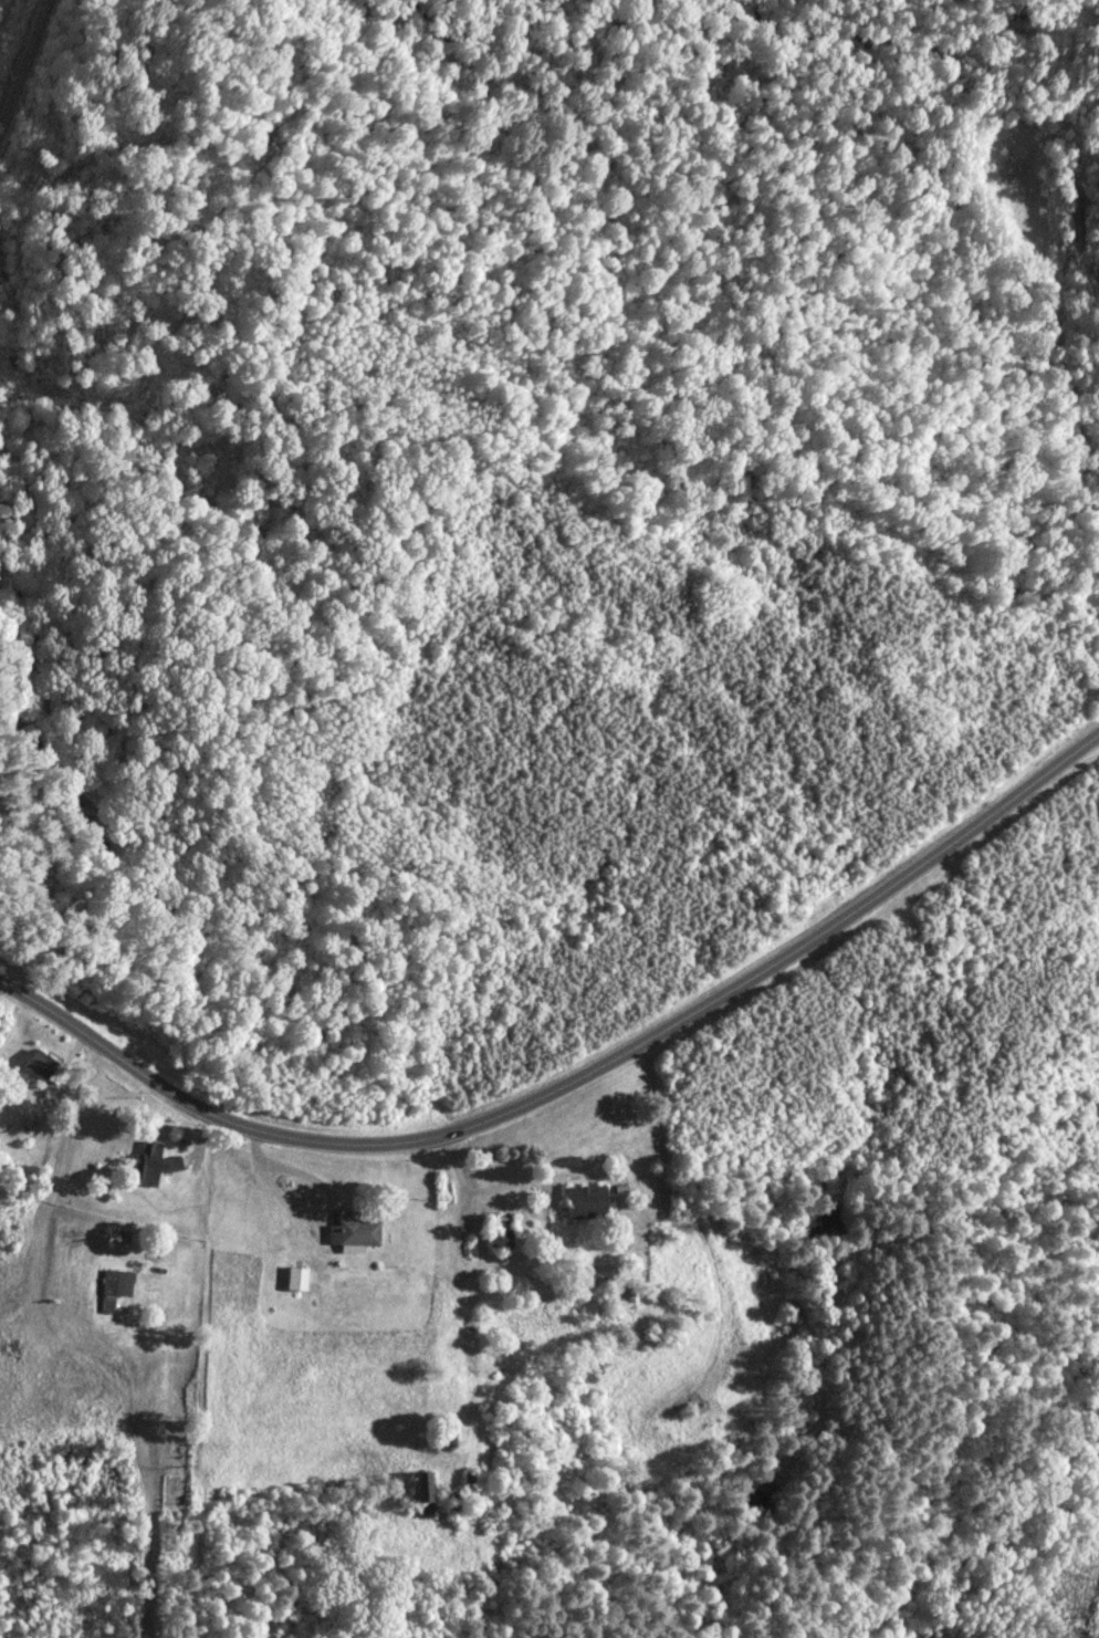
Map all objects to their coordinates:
road: (20, 51)
building: (48, 1067)
road: (573, 1079)
building: (157, 1162)
building: (589, 1202)
building: (362, 1233)
building: (505, 1239)
building: (300, 1279)
building: (118, 1289)
building: (472, 1479)
building: (429, 1486)

